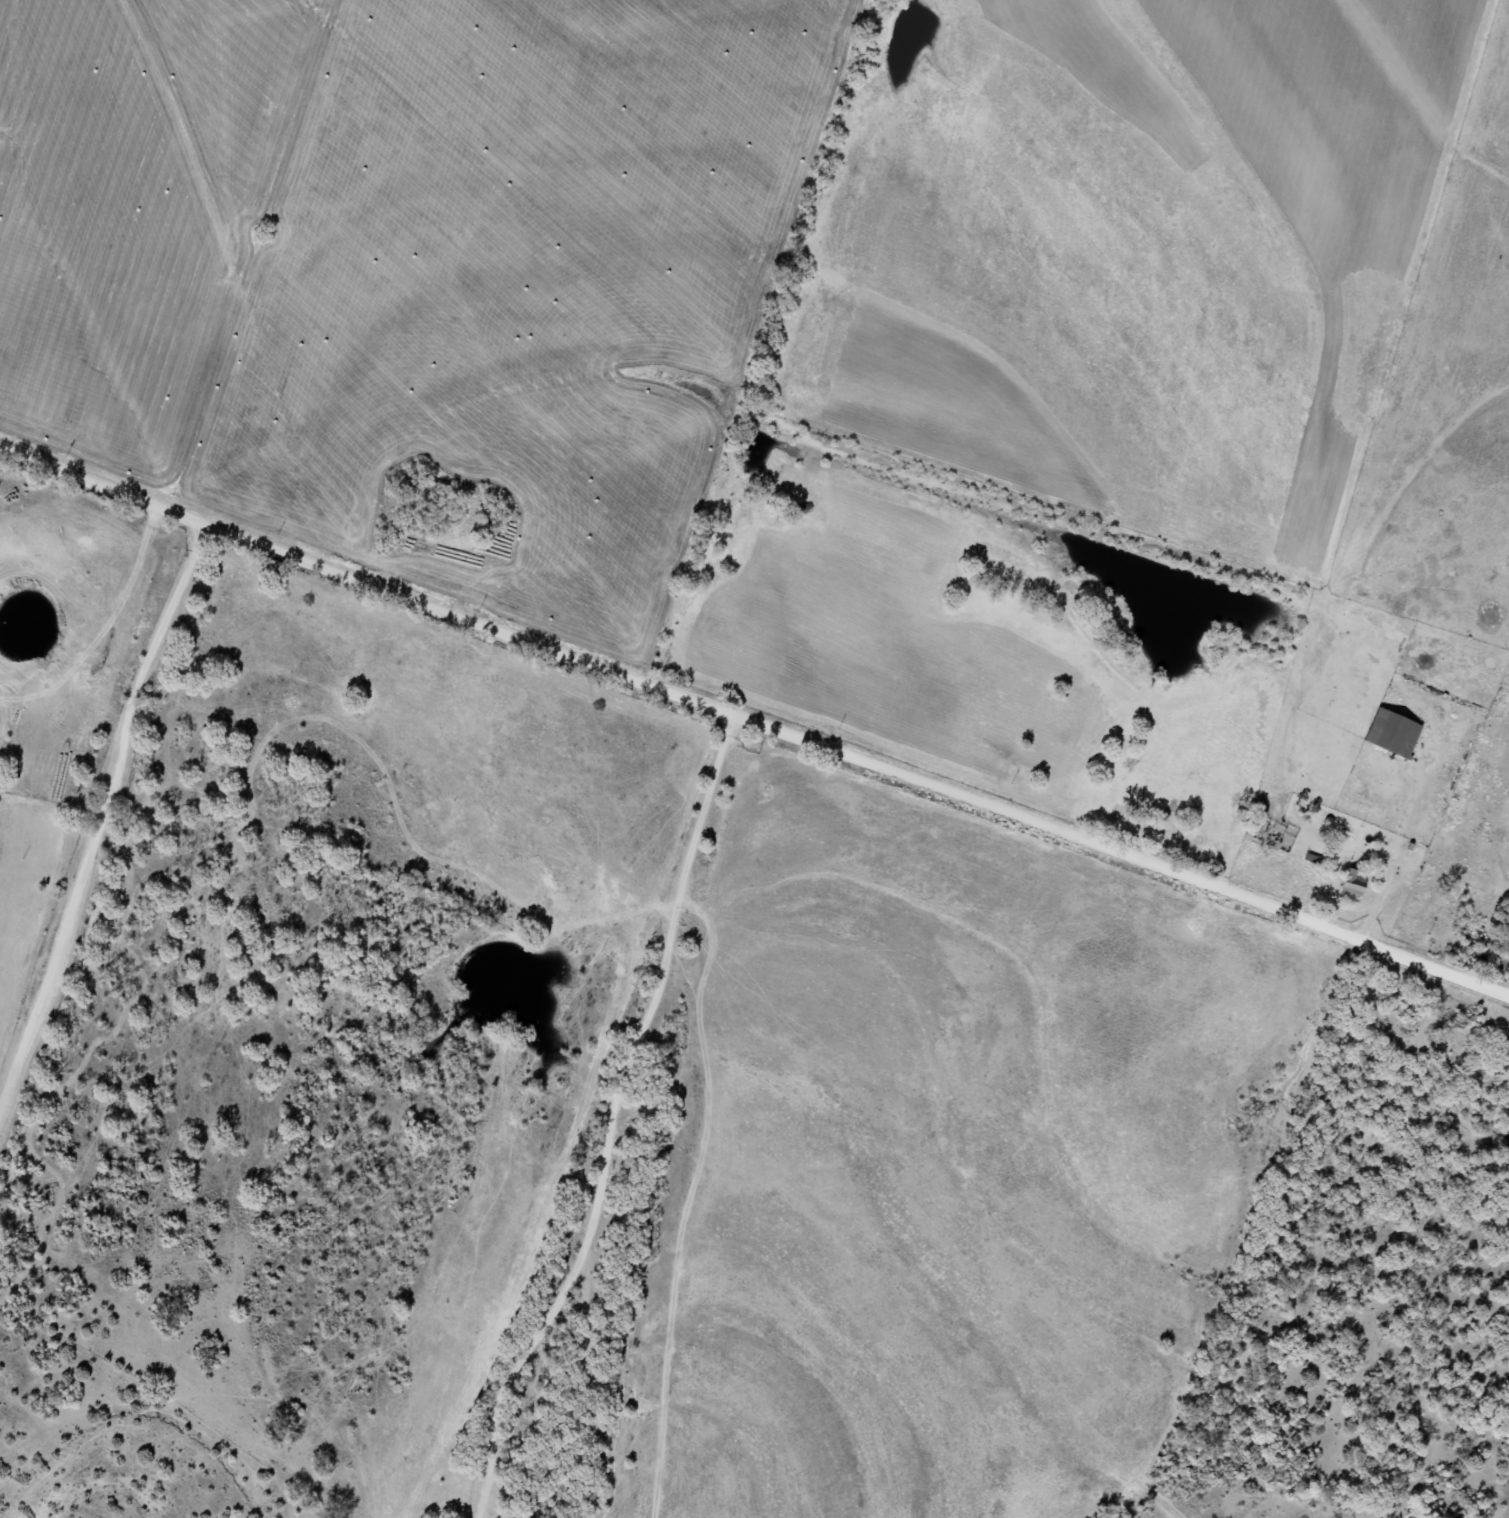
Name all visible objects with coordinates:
road: (755, 692)
building: (1395, 732)
building: (1357, 876)
road: (600, 1108)

